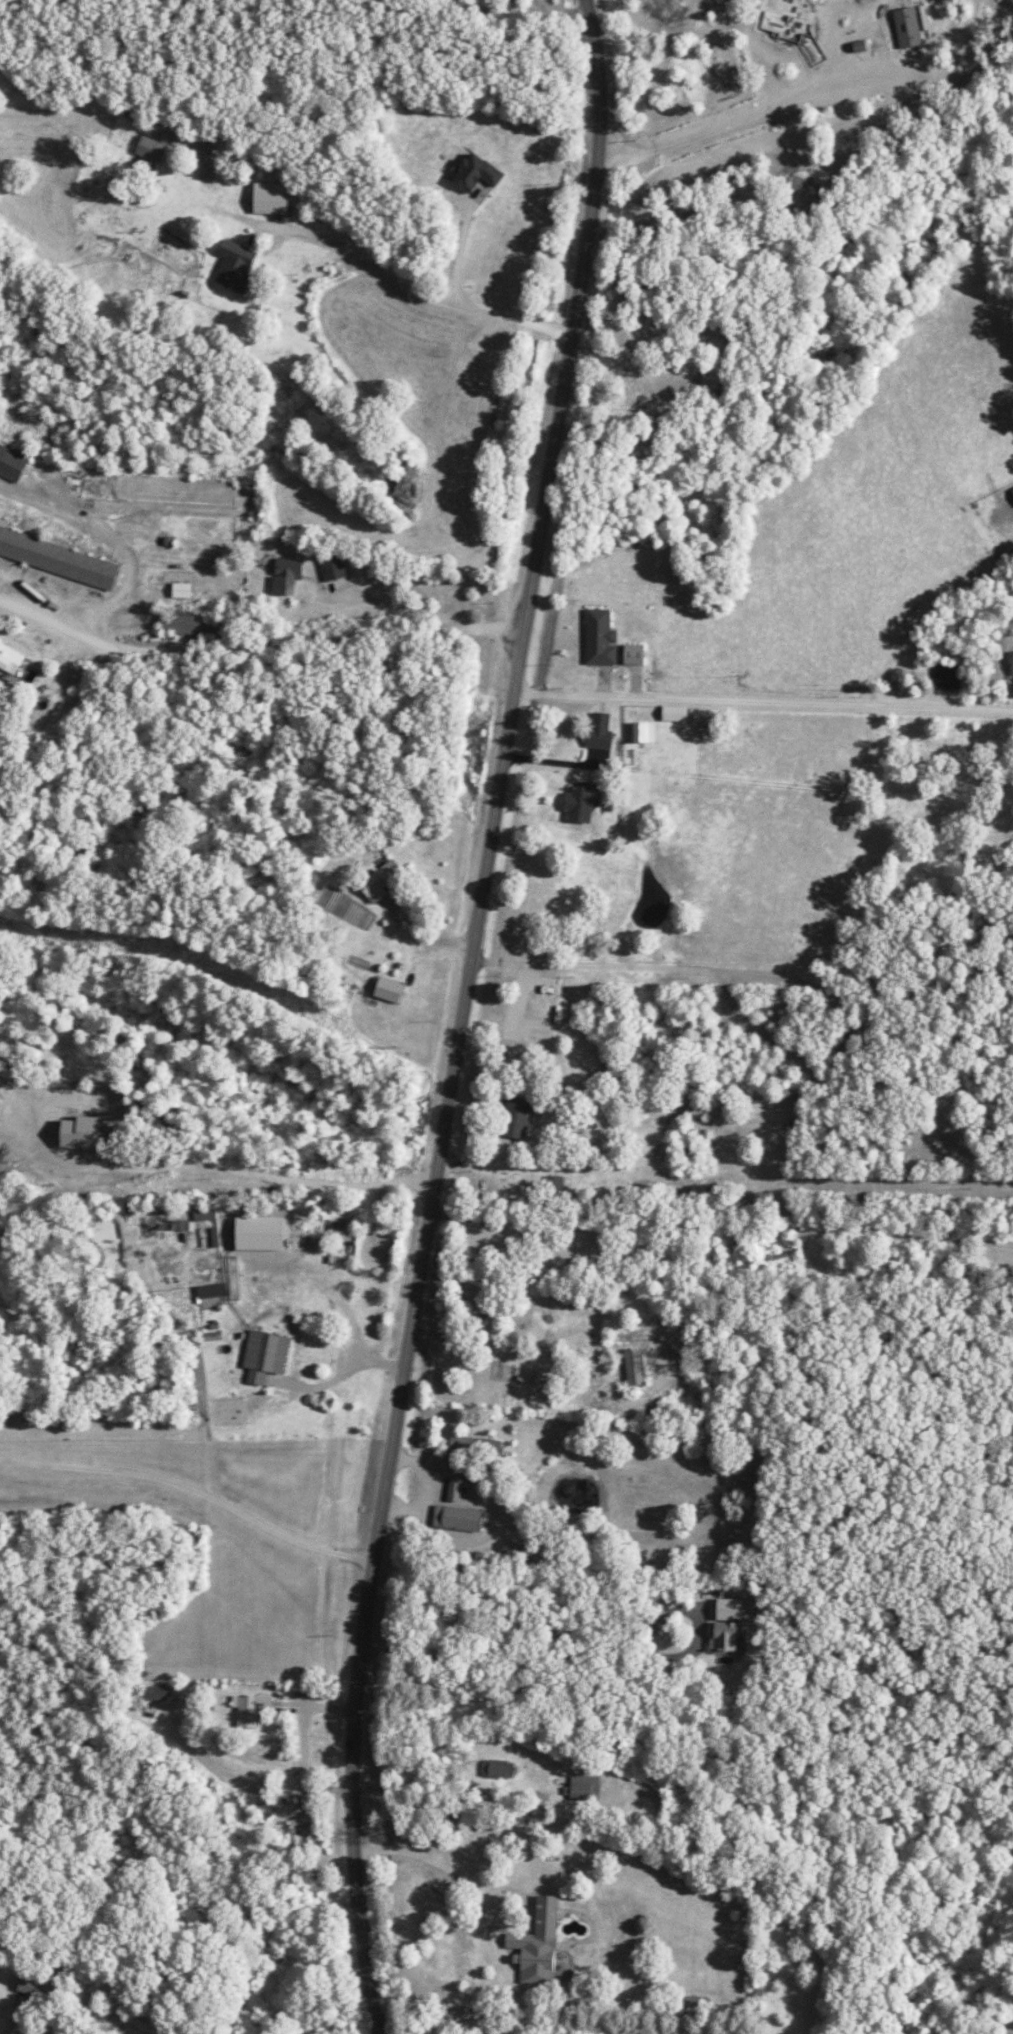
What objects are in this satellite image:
building: (906, 27)
building: (150, 149)
building: (475, 173)
building: (269, 198)
road: (459, 244)
building: (234, 266)
road: (411, 291)
building: (12, 459)
building: (1012, 490)
building: (331, 565)
building: (286, 575)
building: (181, 590)
road: (399, 604)
building: (187, 623)
building: (599, 638)
road: (261, 647)
building: (632, 654)
building: (9, 658)
road: (767, 700)
building: (673, 713)
building: (598, 731)
building: (642, 732)
road: (711, 781)
building: (580, 803)
building: (381, 880)
road: (759, 975)
building: (387, 990)
road: (460, 1014)
building: (0, 1101)
building: (514, 1117)
building: (79, 1133)
road: (287, 1158)
building: (552, 1185)
building: (203, 1213)
building: (211, 1291)
building: (264, 1355)
building: (633, 1367)
road: (651, 1395)
building: (474, 1446)
building: (453, 1489)
road: (195, 1491)
building: (456, 1518)
road: (549, 1642)
building: (155, 1693)
building: (249, 1709)
building: (497, 1769)
building: (583, 1788)
building: (299, 1833)
road: (437, 1864)
building: (536, 1944)
building: (36, 1986)

